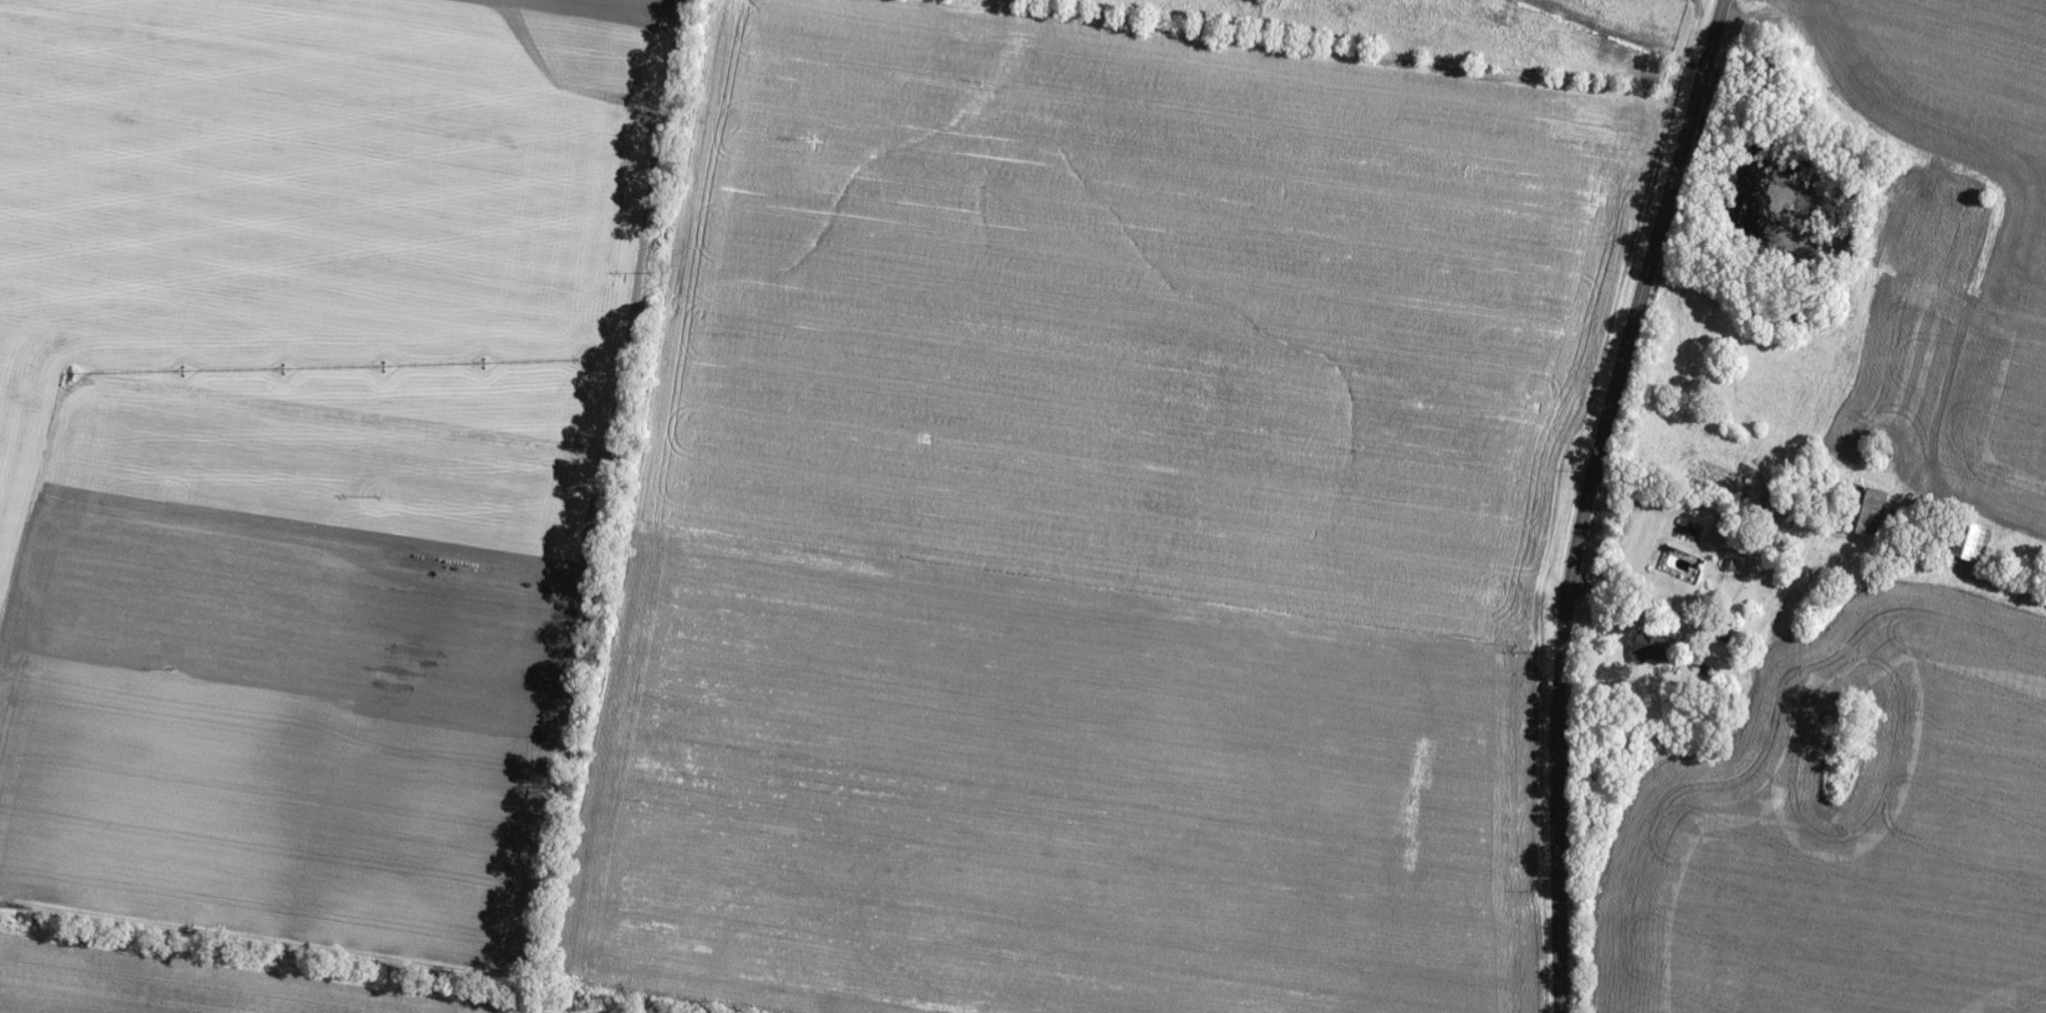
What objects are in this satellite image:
road: (1588, 498)
building: (1864, 511)
building: (1970, 543)
building: (1643, 647)

